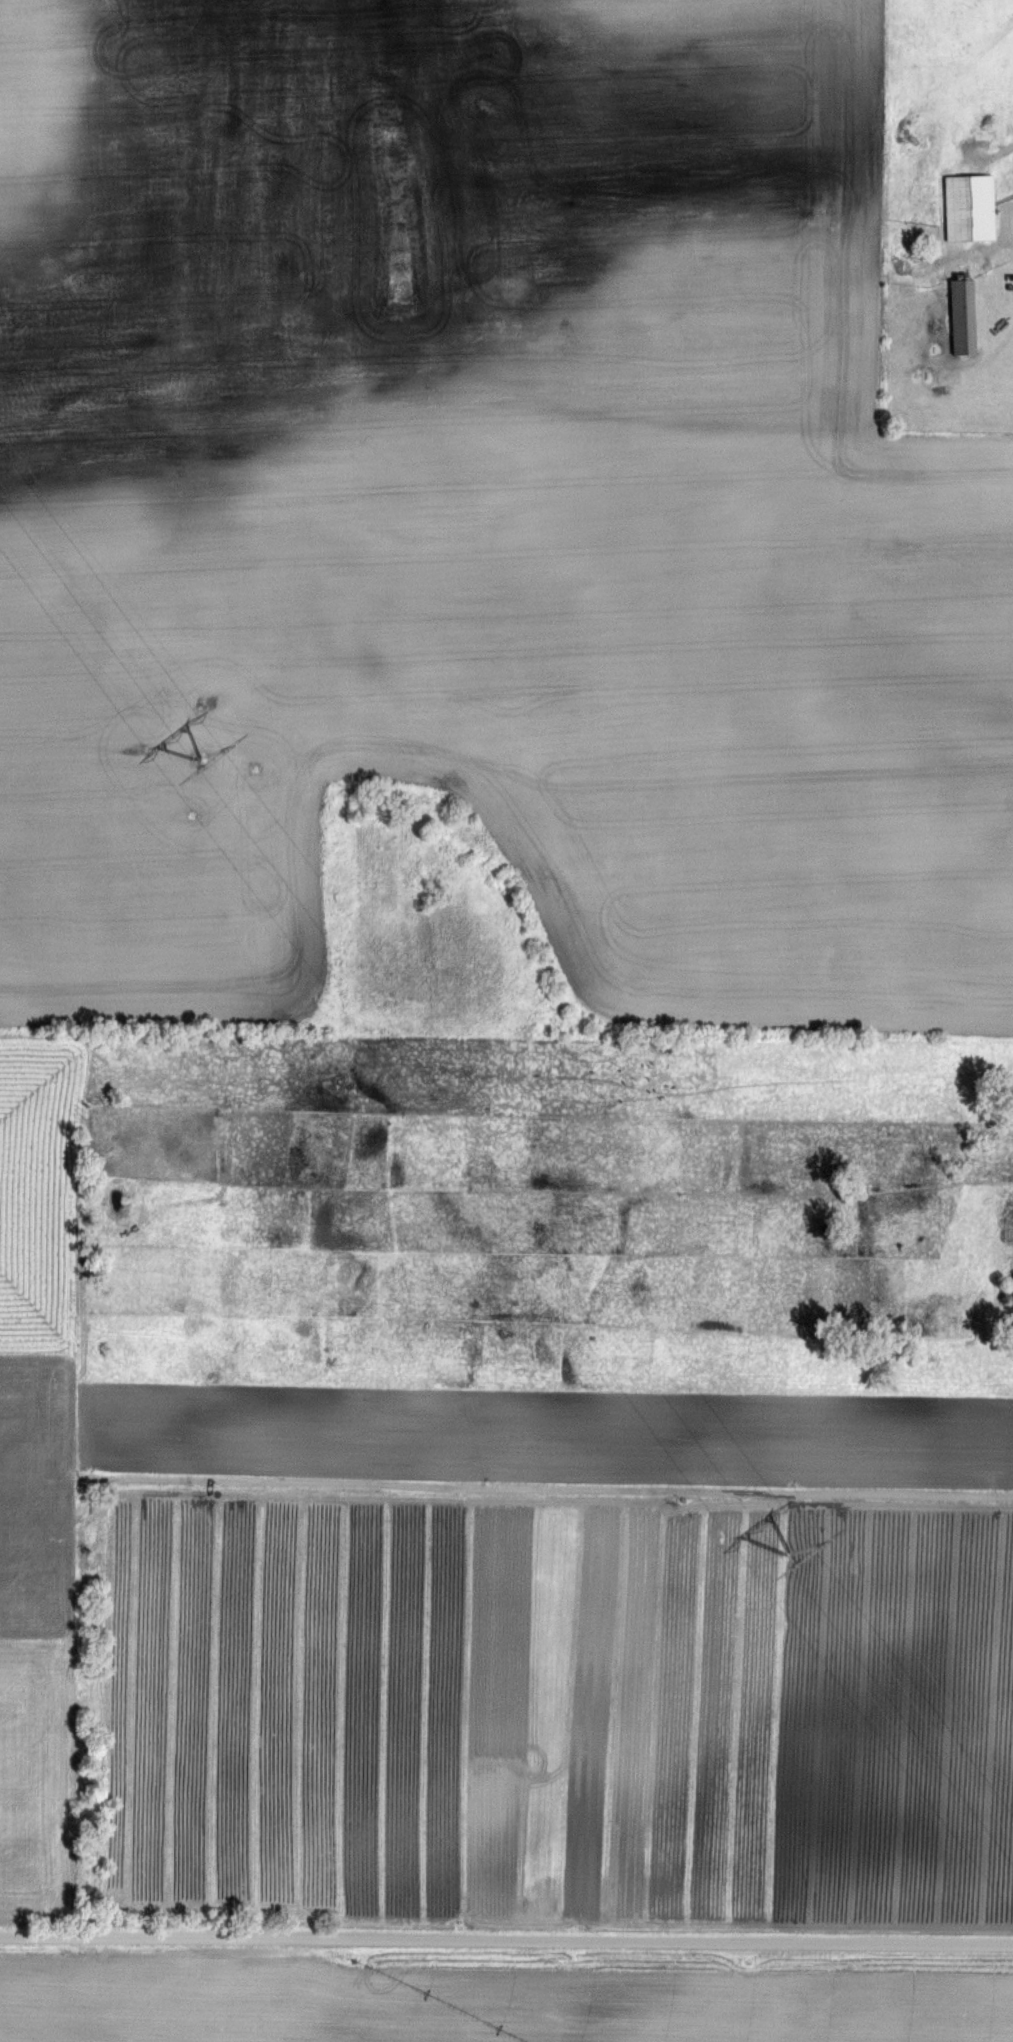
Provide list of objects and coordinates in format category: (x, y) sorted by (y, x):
building: (970, 207)
road: (981, 251)
building: (963, 317)
power tower: (197, 762)
power tower: (788, 1554)
road: (506, 1941)

